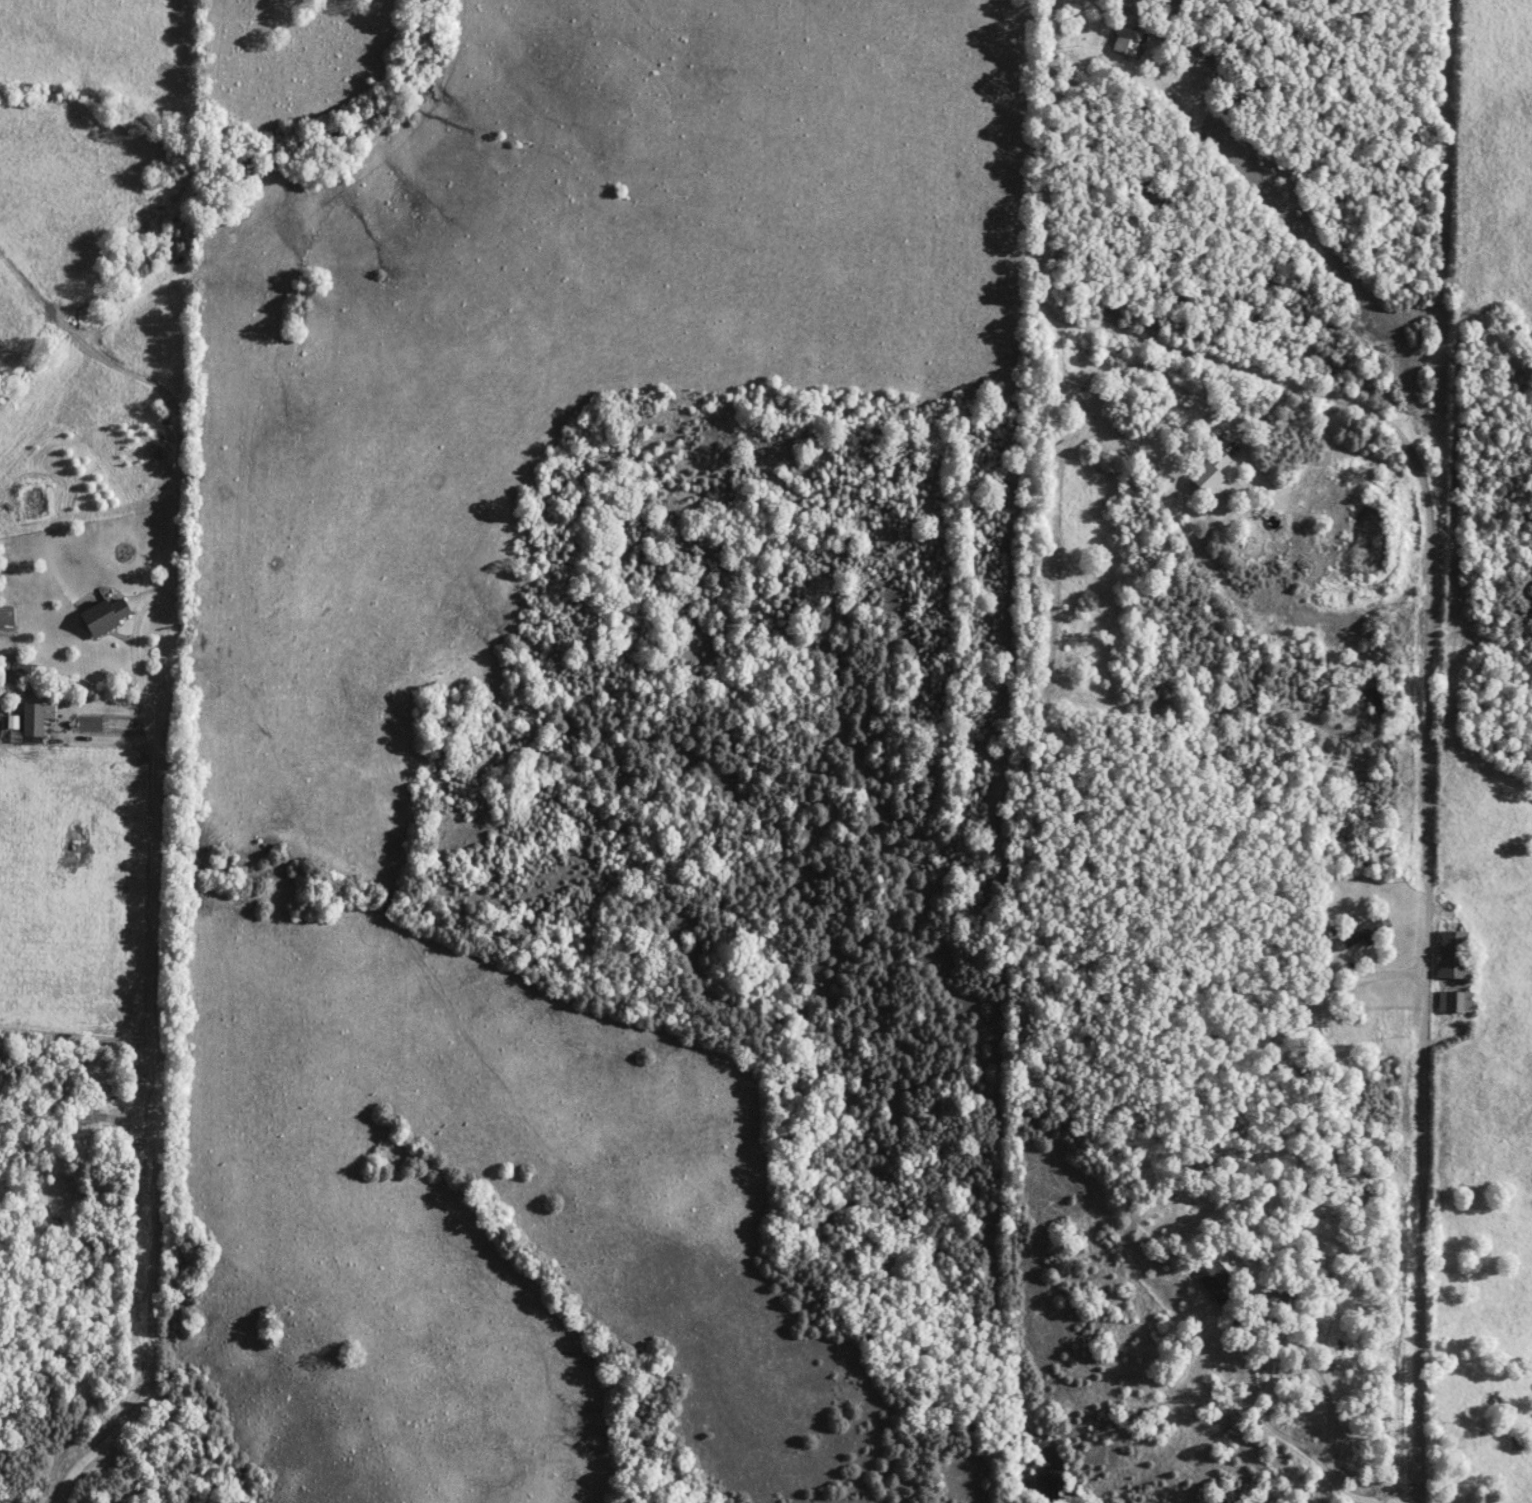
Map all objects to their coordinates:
building: (1124, 42)
building: (1208, 473)
road: (1432, 613)
building: (103, 616)
building: (11, 721)
building: (30, 721)
building: (1360, 934)
building: (1451, 955)
road: (1375, 984)
building: (1453, 1002)
building: (1258, 1042)
building: (1218, 1284)
building: (1275, 1297)
road: (1249, 1373)
road: (1345, 1494)

